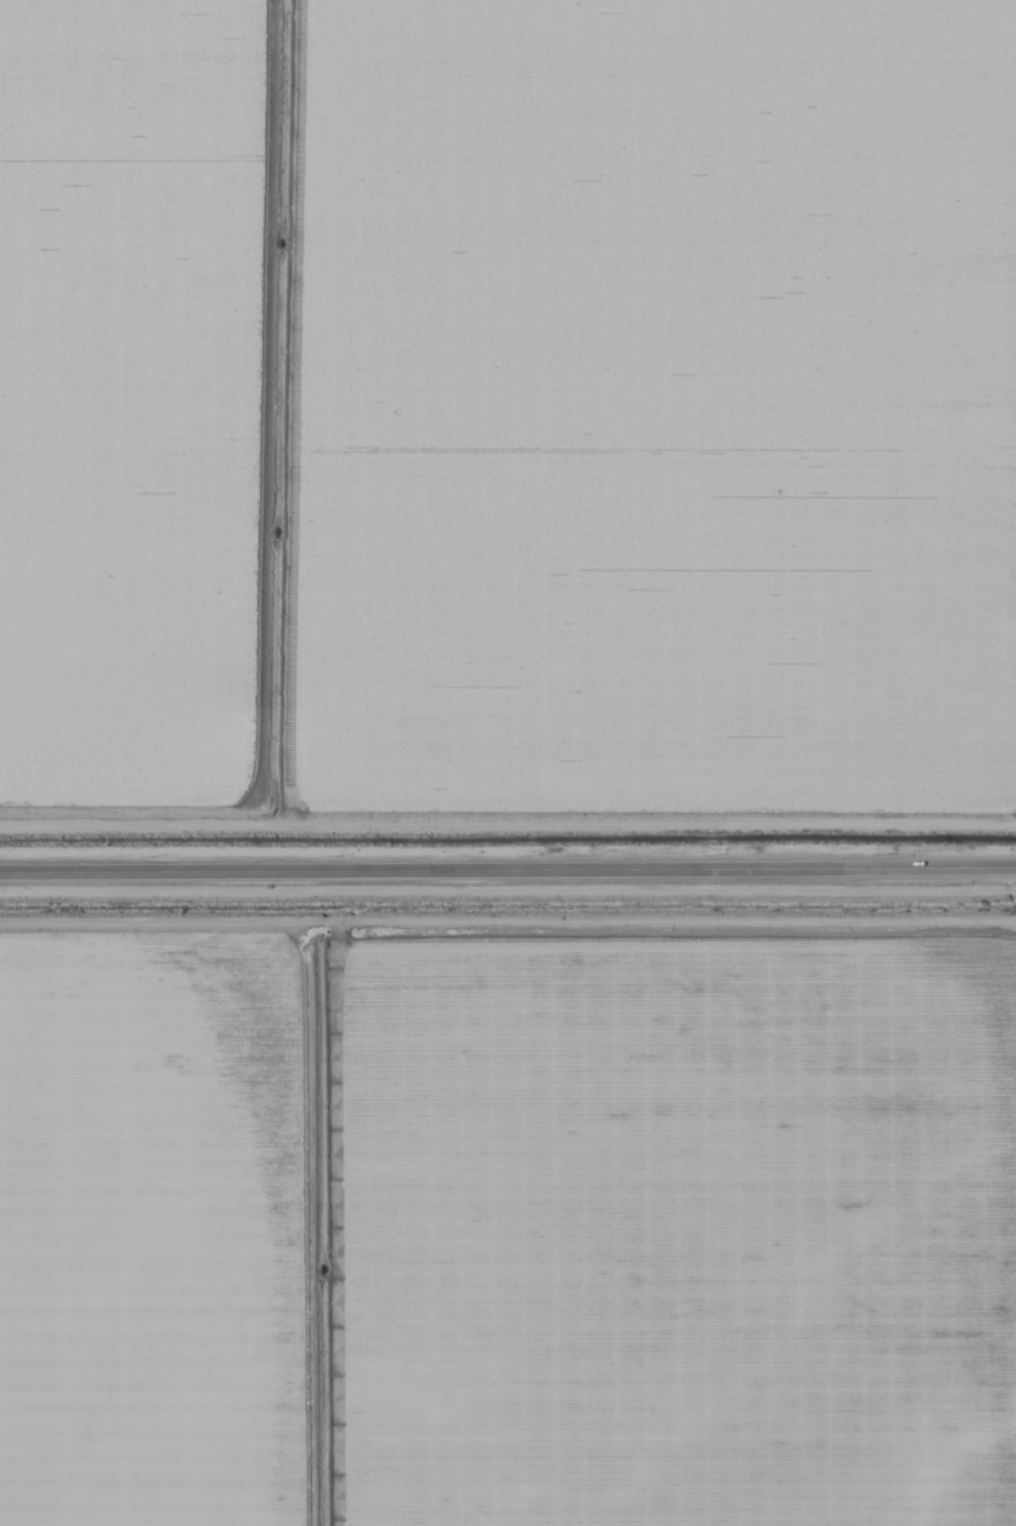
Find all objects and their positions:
road: (508, 871)

